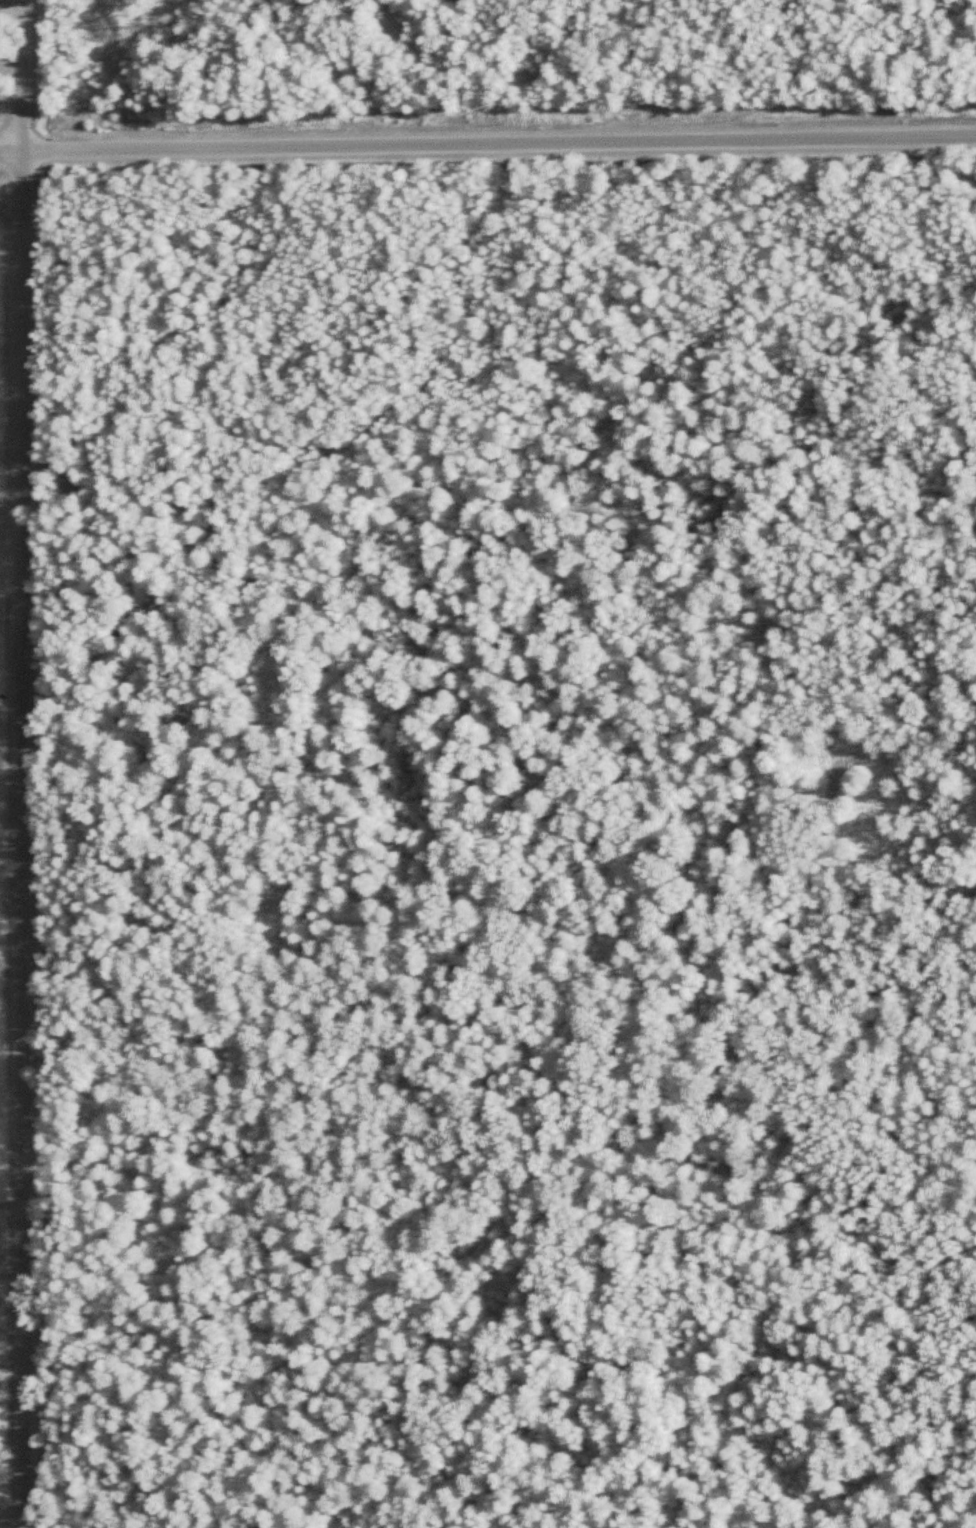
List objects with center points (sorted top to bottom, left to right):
road: (488, 145)
road: (12, 191)
road: (12, 568)
road: (25, 763)

